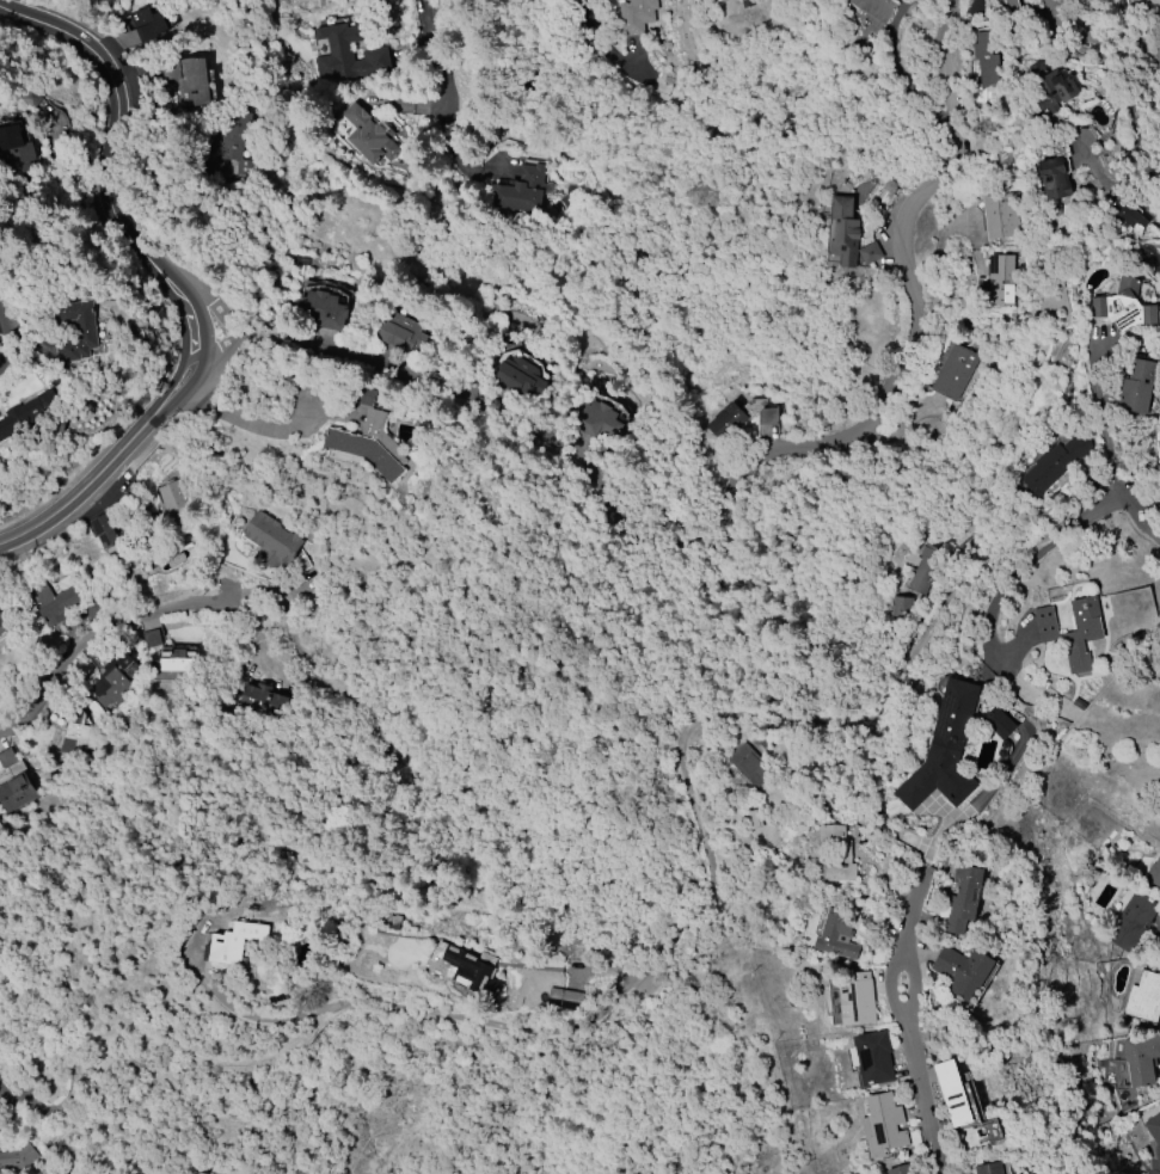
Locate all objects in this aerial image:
building: (1143, 2)
building: (1012, 6)
building: (978, 7)
building: (874, 8)
building: (637, 16)
building: (149, 24)
road: (599, 27)
road: (1098, 36)
building: (348, 55)
building: (987, 57)
road: (446, 59)
road: (900, 66)
building: (188, 79)
road: (534, 87)
building: (1050, 87)
road: (412, 105)
building: (368, 136)
building: (237, 141)
building: (14, 153)
road: (104, 172)
building: (1054, 179)
building: (518, 191)
building: (1000, 216)
building: (1128, 216)
building: (845, 231)
building: (870, 253)
building: (1001, 279)
road: (196, 287)
building: (1125, 306)
building: (324, 309)
building: (75, 332)
building: (401, 333)
road: (14, 344)
road: (217, 355)
building: (955, 371)
building: (523, 379)
building: (1137, 387)
road: (168, 388)
road: (178, 397)
building: (25, 416)
road: (1101, 416)
building: (768, 417)
building: (596, 422)
building: (726, 422)
road: (248, 424)
building: (369, 437)
building: (1054, 466)
road: (743, 471)
road: (86, 485)
building: (170, 499)
road: (1138, 499)
road: (1138, 520)
building: (104, 531)
building: (270, 543)
building: (927, 570)
building: (53, 603)
building: (901, 607)
building: (2, 629)
building: (1073, 631)
road: (988, 632)
road: (93, 634)
building: (148, 639)
building: (176, 660)
building: (112, 680)
building: (258, 700)
building: (999, 723)
building: (73, 740)
building: (944, 751)
building: (5, 758)
building: (750, 766)
road: (689, 785)
building: (16, 793)
building: (835, 855)
building: (891, 865)
building: (1153, 873)
building: (963, 898)
road: (913, 901)
road: (707, 903)
building: (1131, 922)
building: (837, 934)
road: (903, 938)
building: (238, 942)
building: (467, 966)
building: (963, 971)
building: (1144, 997)
building: (857, 1000)
building: (565, 1001)
building: (873, 1058)
building: (1141, 1061)
building: (952, 1093)
road: (922, 1104)
building: (885, 1124)
building: (1154, 1136)
building: (18, 1157)
building: (901, 1169)
building: (989, 1169)

